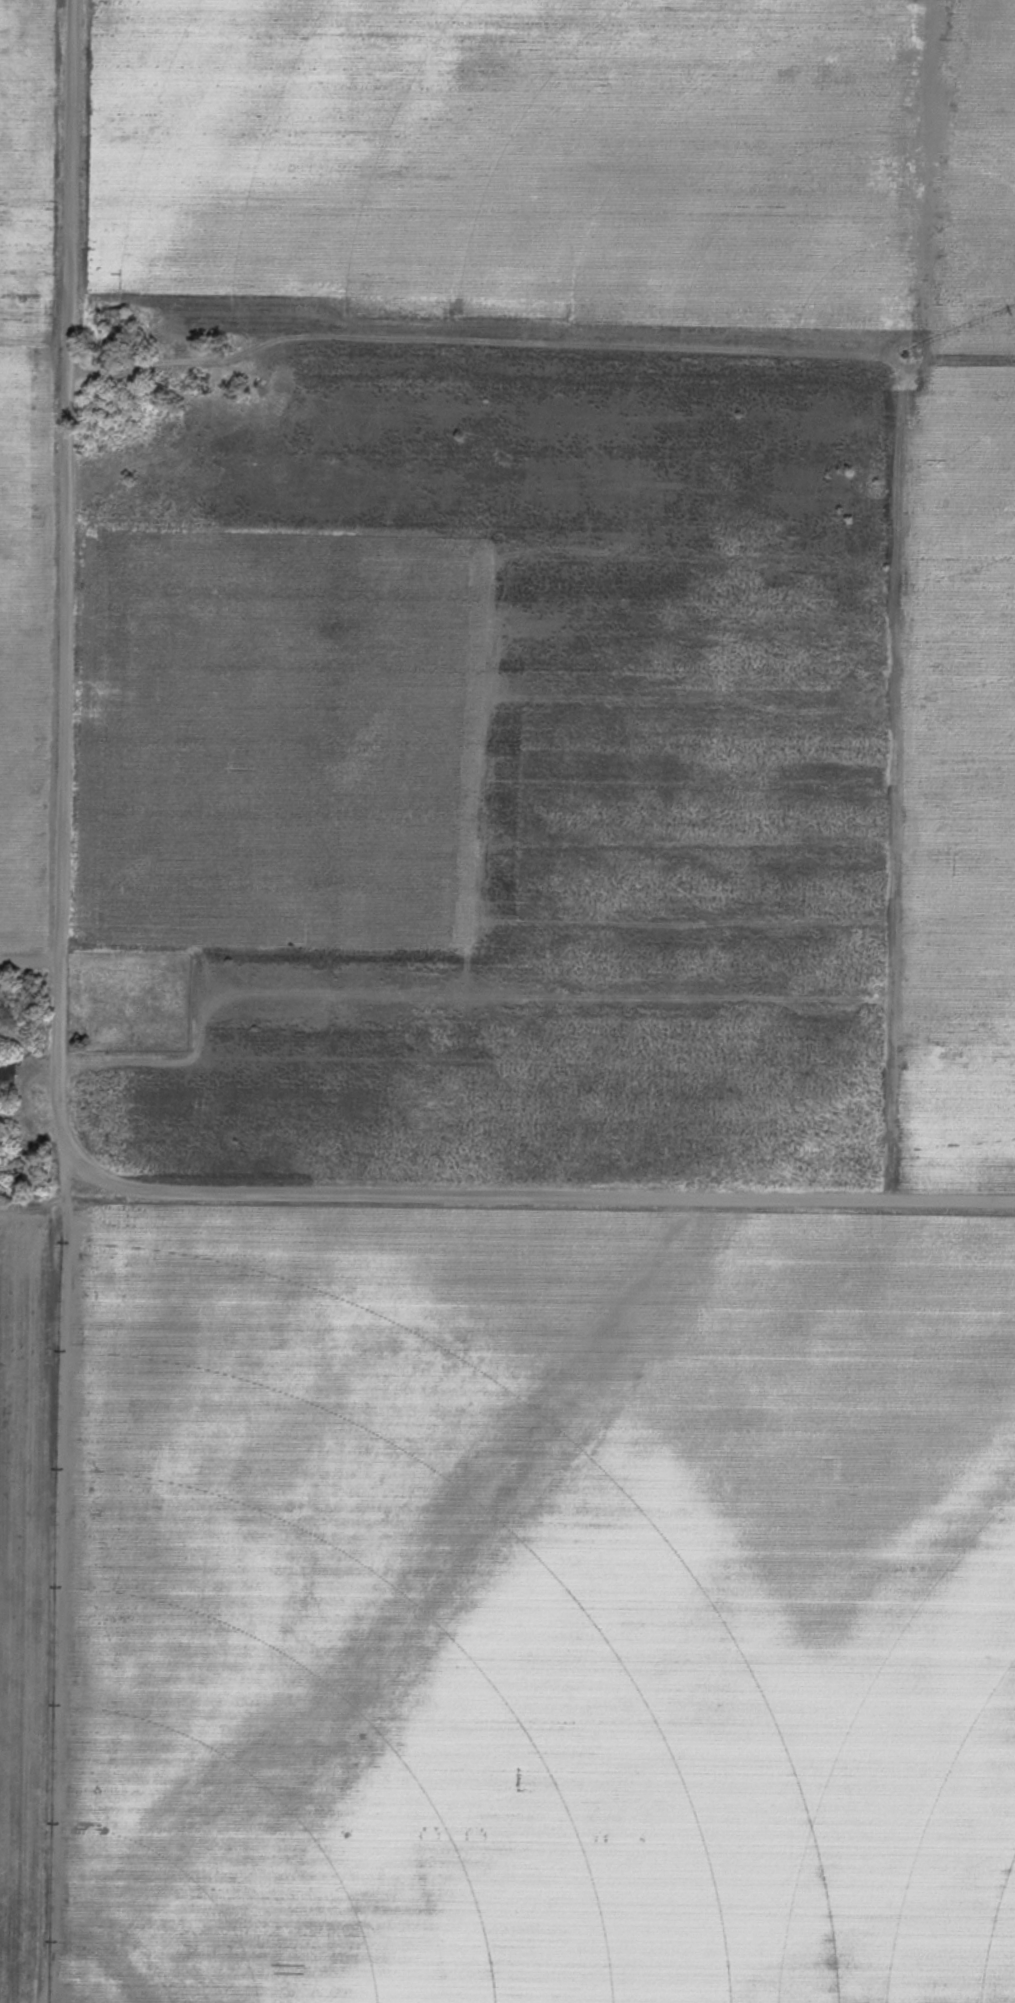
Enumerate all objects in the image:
building: (117, 323)
road: (35, 340)
road: (30, 960)
park: (129, 1001)
road: (59, 1051)
building: (7, 1074)
road: (27, 1211)
road: (38, 1573)

